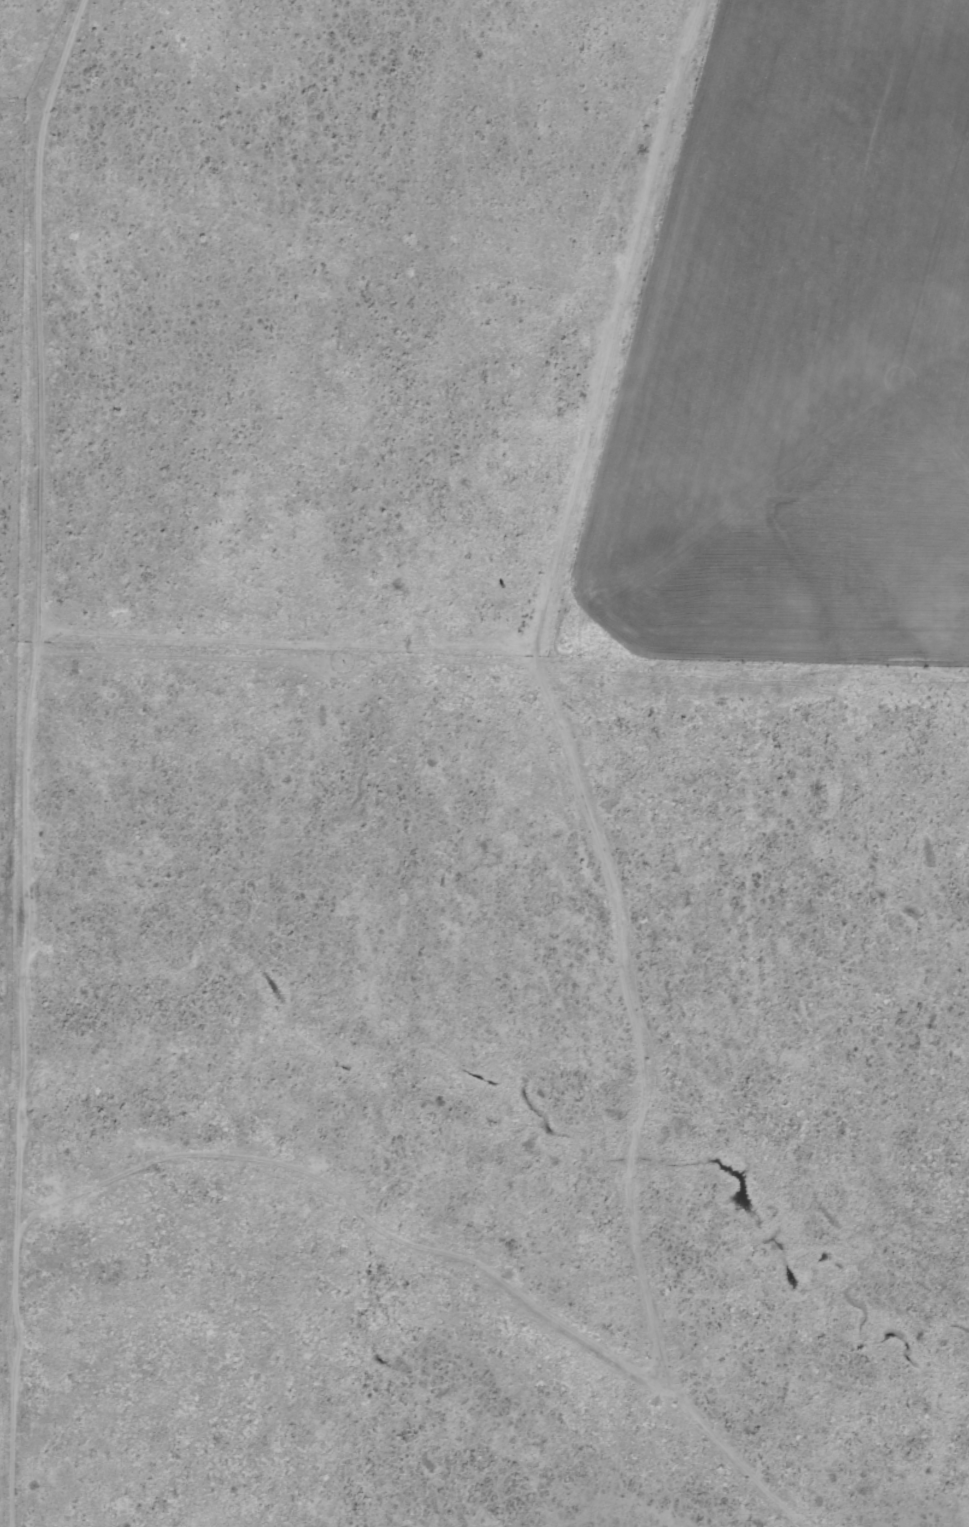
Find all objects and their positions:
road: (601, 809)

